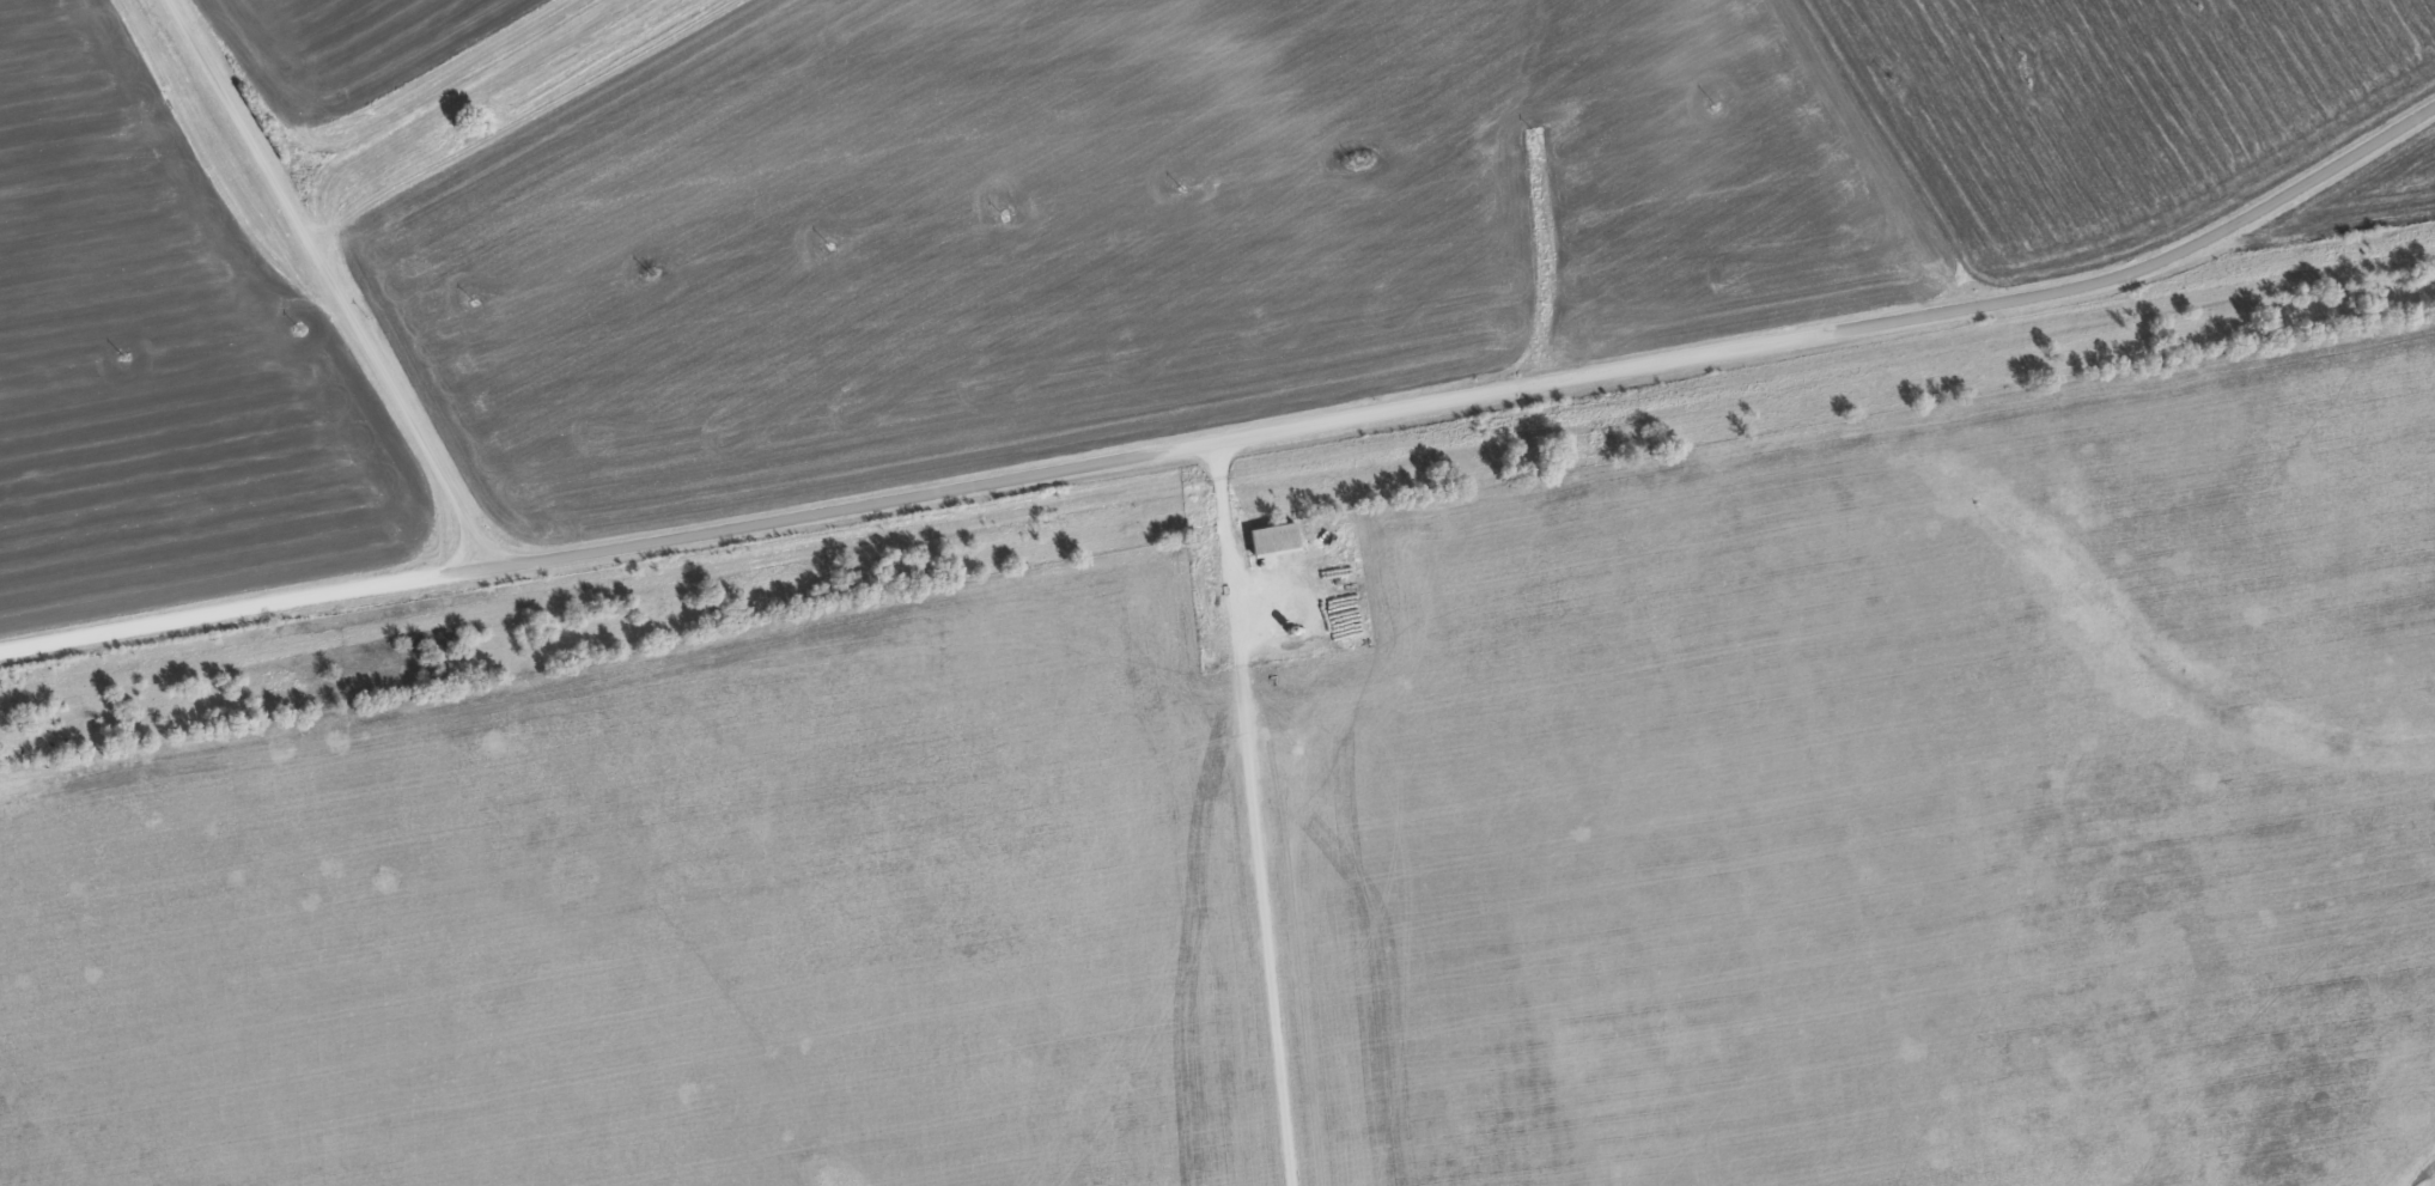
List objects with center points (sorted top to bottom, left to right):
road: (336, 285)
road: (1317, 419)
road: (80, 651)
road: (1272, 810)

